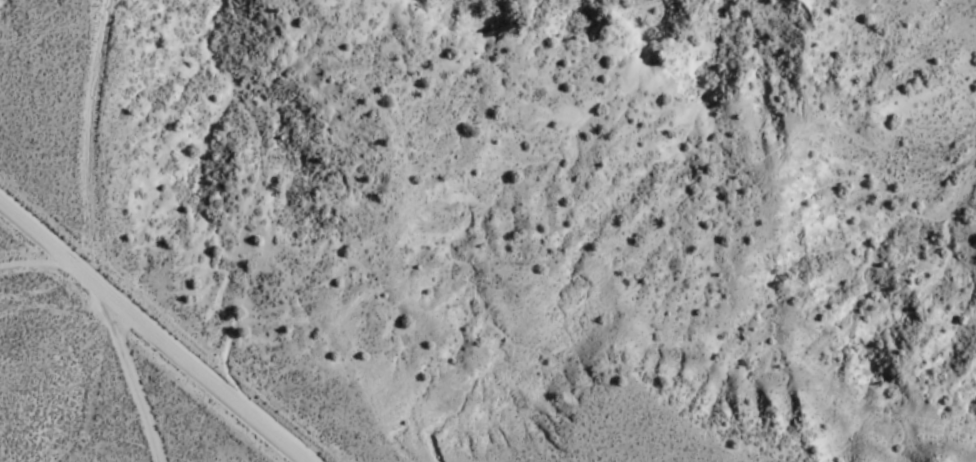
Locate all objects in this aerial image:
road: (88, 234)
road: (155, 334)

